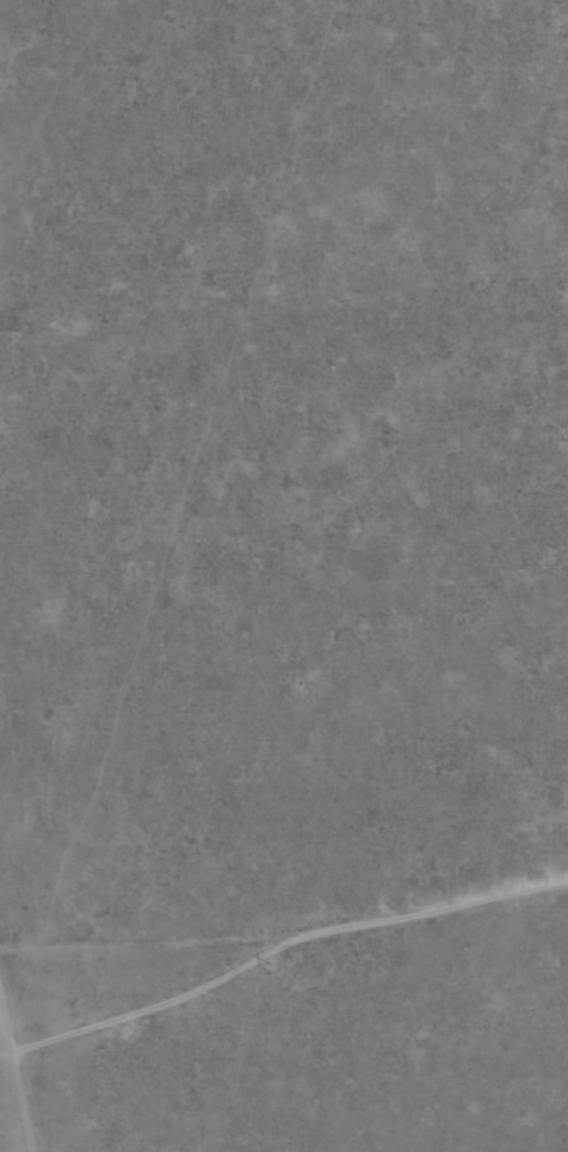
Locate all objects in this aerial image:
power tower: (270, 967)

